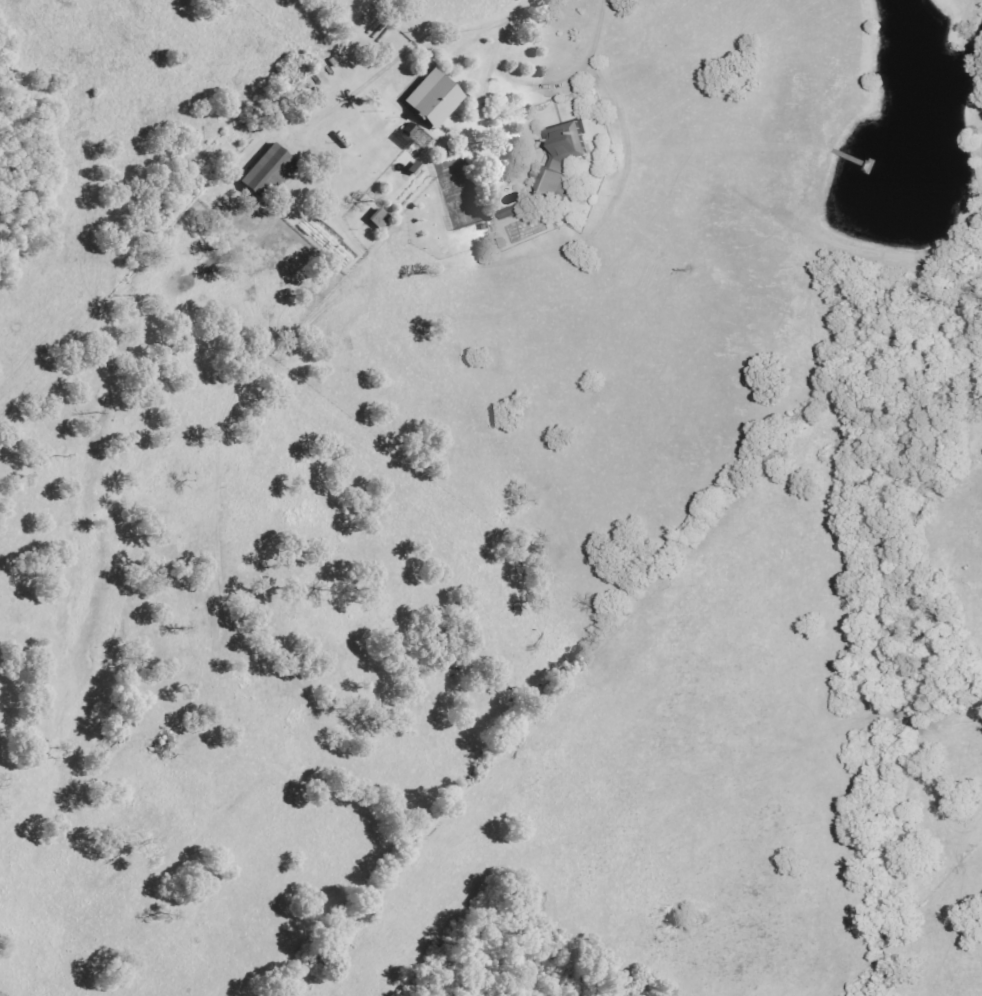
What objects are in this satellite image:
building: (432, 100)
building: (561, 159)
building: (267, 173)
building: (378, 219)

